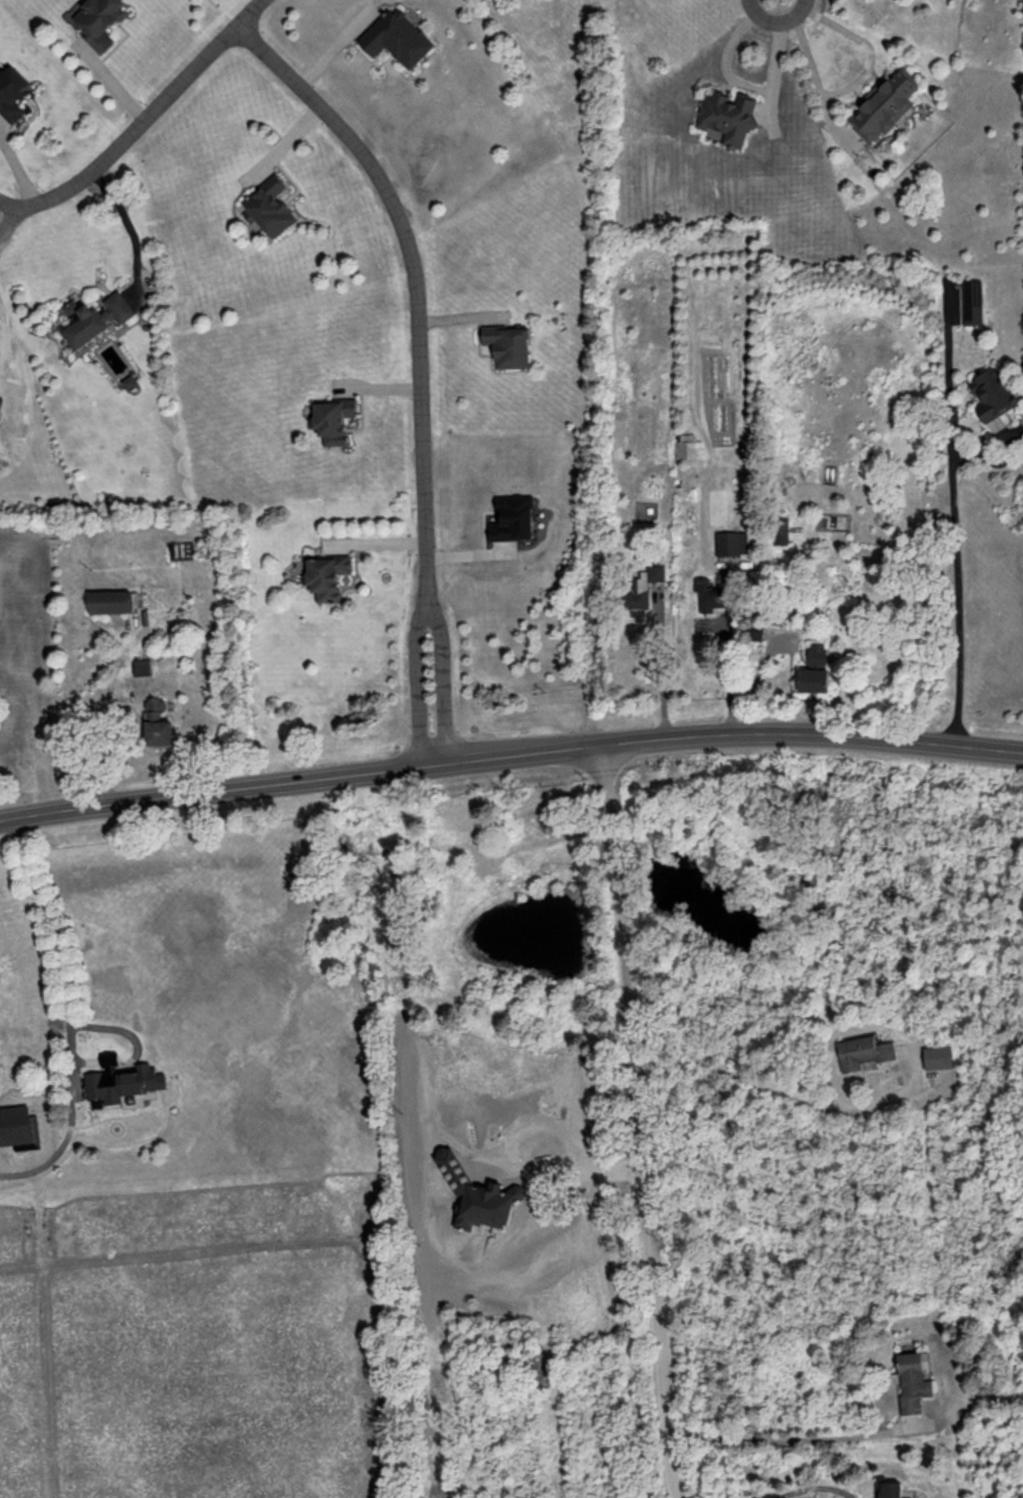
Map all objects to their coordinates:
building: (100, 22)
building: (398, 39)
road: (865, 45)
road: (817, 76)
road: (107, 84)
building: (13, 95)
building: (887, 105)
building: (728, 117)
road: (143, 121)
building: (271, 207)
road: (131, 229)
road: (418, 277)
building: (974, 302)
building: (95, 316)
building: (509, 346)
building: (993, 394)
building: (333, 420)
building: (689, 447)
building: (780, 531)
building: (732, 543)
building: (328, 577)
building: (643, 591)
road: (959, 592)
building: (710, 596)
building: (110, 601)
building: (819, 654)
road: (444, 674)
road: (730, 675)
road: (417, 677)
road: (661, 678)
road: (753, 679)
building: (815, 680)
road: (112, 704)
building: (160, 729)
road: (817, 734)
road: (516, 751)
road: (210, 789)
road: (79, 1010)
building: (866, 1053)
building: (939, 1058)
building: (125, 1083)
road: (767, 1083)
road: (643, 1120)
building: (915, 1382)
road: (797, 1439)
road: (813, 1489)
building: (892, 1490)

